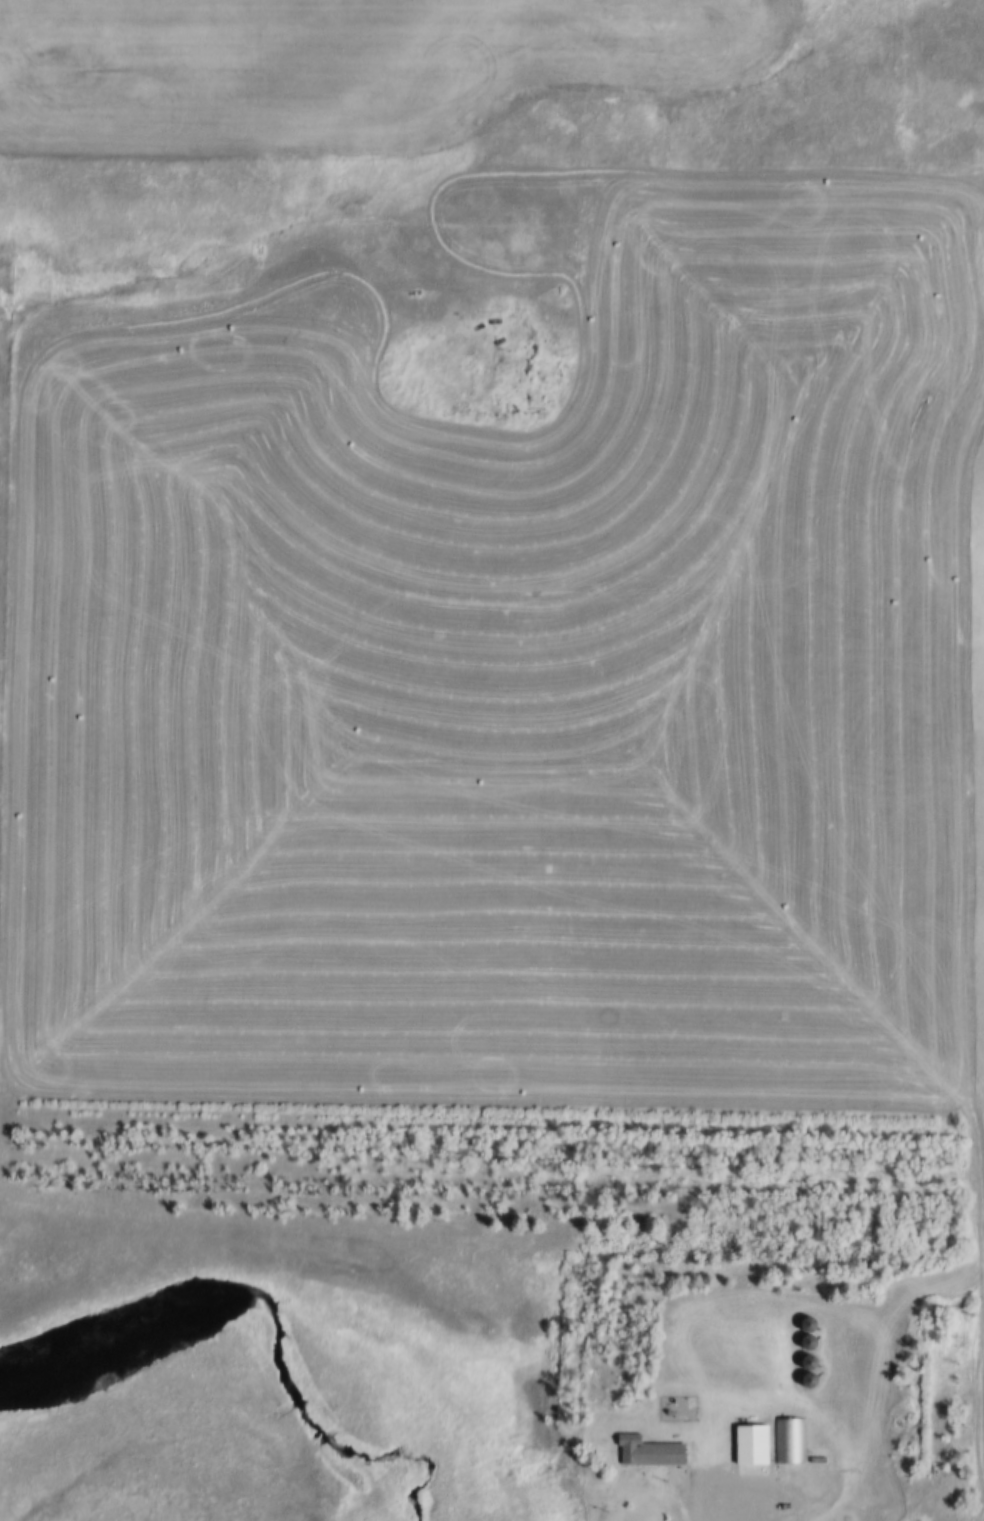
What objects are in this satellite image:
building: (801, 1328)
silo: (801, 1328)
building: (802, 1346)
silo: (802, 1346)
building: (801, 1366)
silo: (801, 1366)
building: (801, 1384)
silo: (801, 1384)
building: (788, 1444)
building: (746, 1447)
building: (649, 1453)
building: (814, 1463)
road: (772, 1508)

